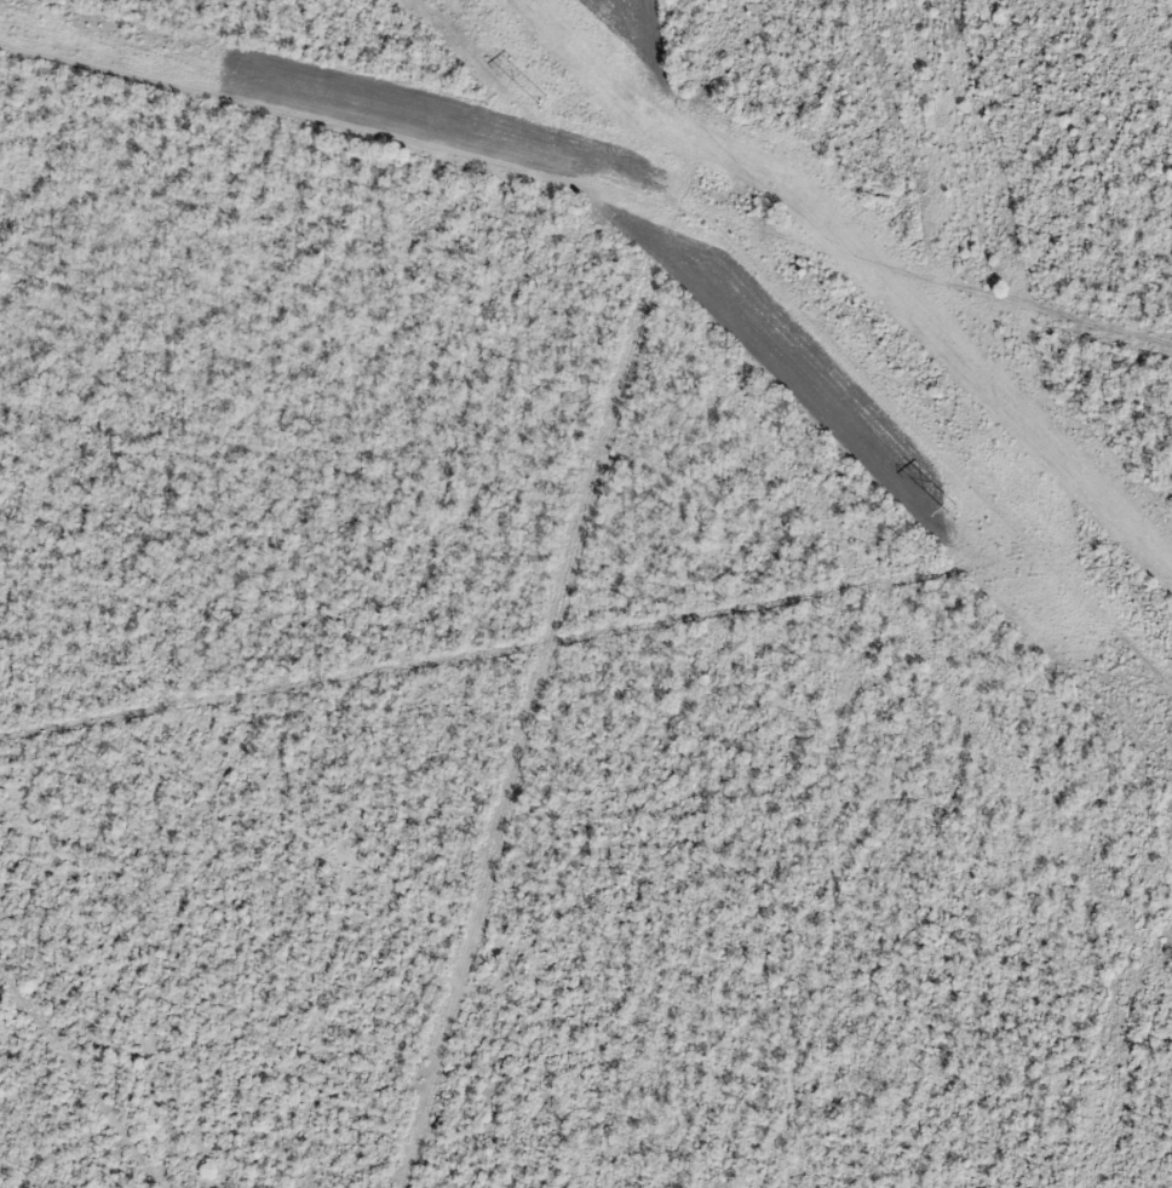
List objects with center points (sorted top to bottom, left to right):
power tower: (540, 102)
power tower: (952, 510)

